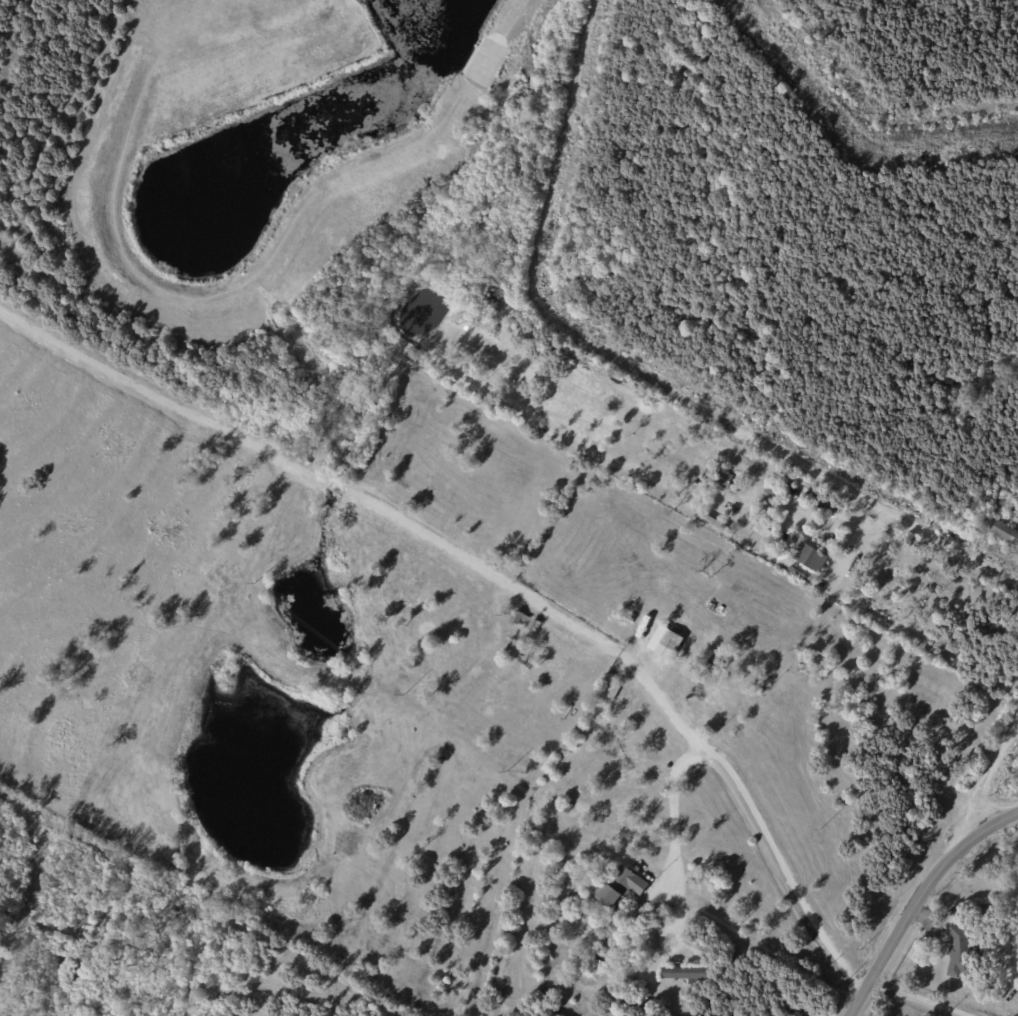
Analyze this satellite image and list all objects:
road: (858, 126)
road: (539, 267)
building: (725, 480)
building: (774, 503)
road: (882, 506)
building: (717, 525)
building: (768, 532)
building: (1006, 535)
building: (811, 557)
building: (708, 617)
building: (526, 621)
building: (673, 640)
road: (622, 654)
building: (680, 664)
building: (713, 664)
building: (611, 687)
building: (716, 701)
road: (983, 792)
road: (736, 794)
building: (567, 807)
building: (599, 862)
building: (621, 886)
road: (925, 901)
building: (607, 946)
building: (579, 947)
building: (964, 952)
building: (598, 959)
building: (688, 974)
road: (924, 998)

